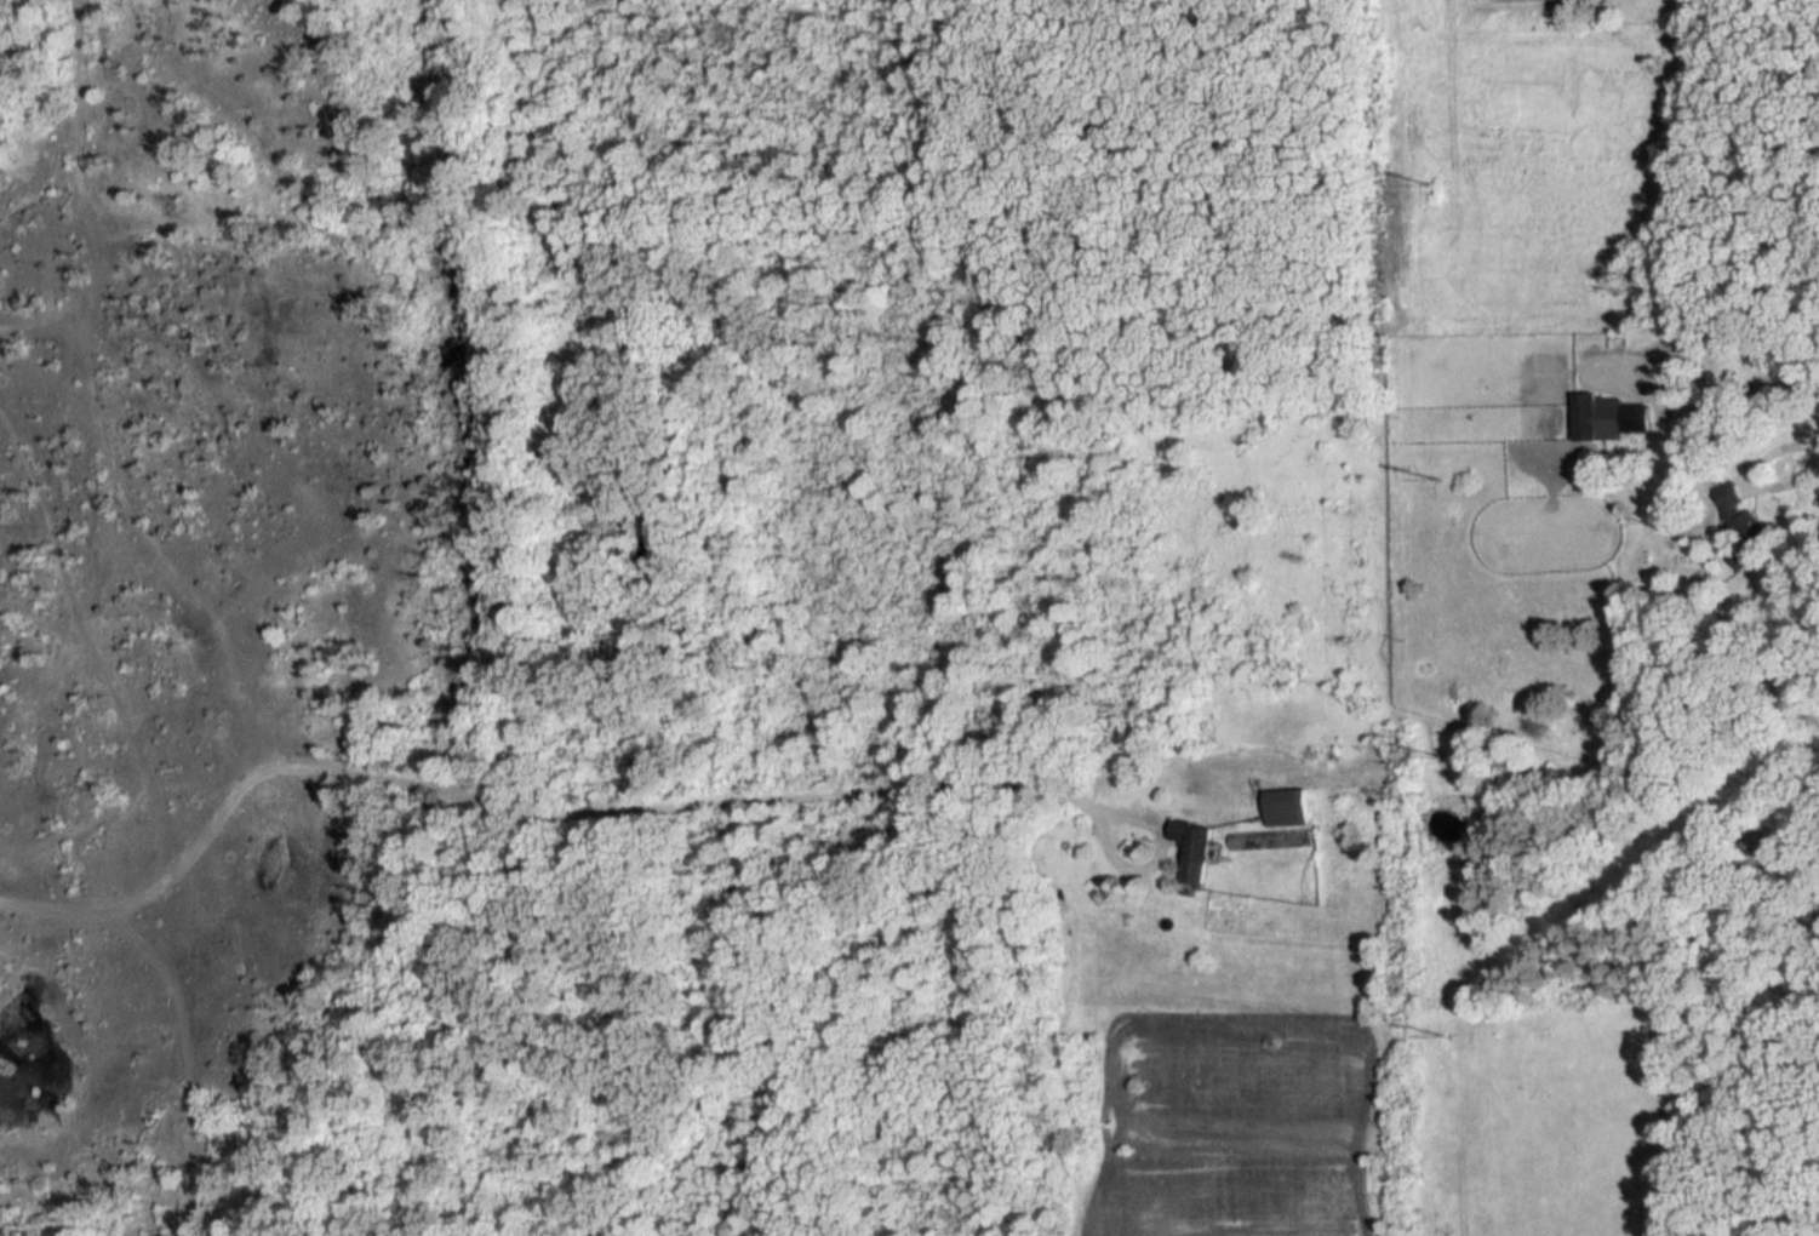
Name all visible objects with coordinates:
park: (1508, 0)
road: (29, 320)
road: (1658, 379)
road: (1798, 380)
road: (69, 408)
building: (1611, 419)
road: (1755, 479)
building: (1746, 526)
road: (84, 670)
road: (24, 728)
road: (225, 788)
road: (902, 789)
building: (1289, 808)
building: (1274, 840)
building: (1197, 852)
road: (173, 1055)

